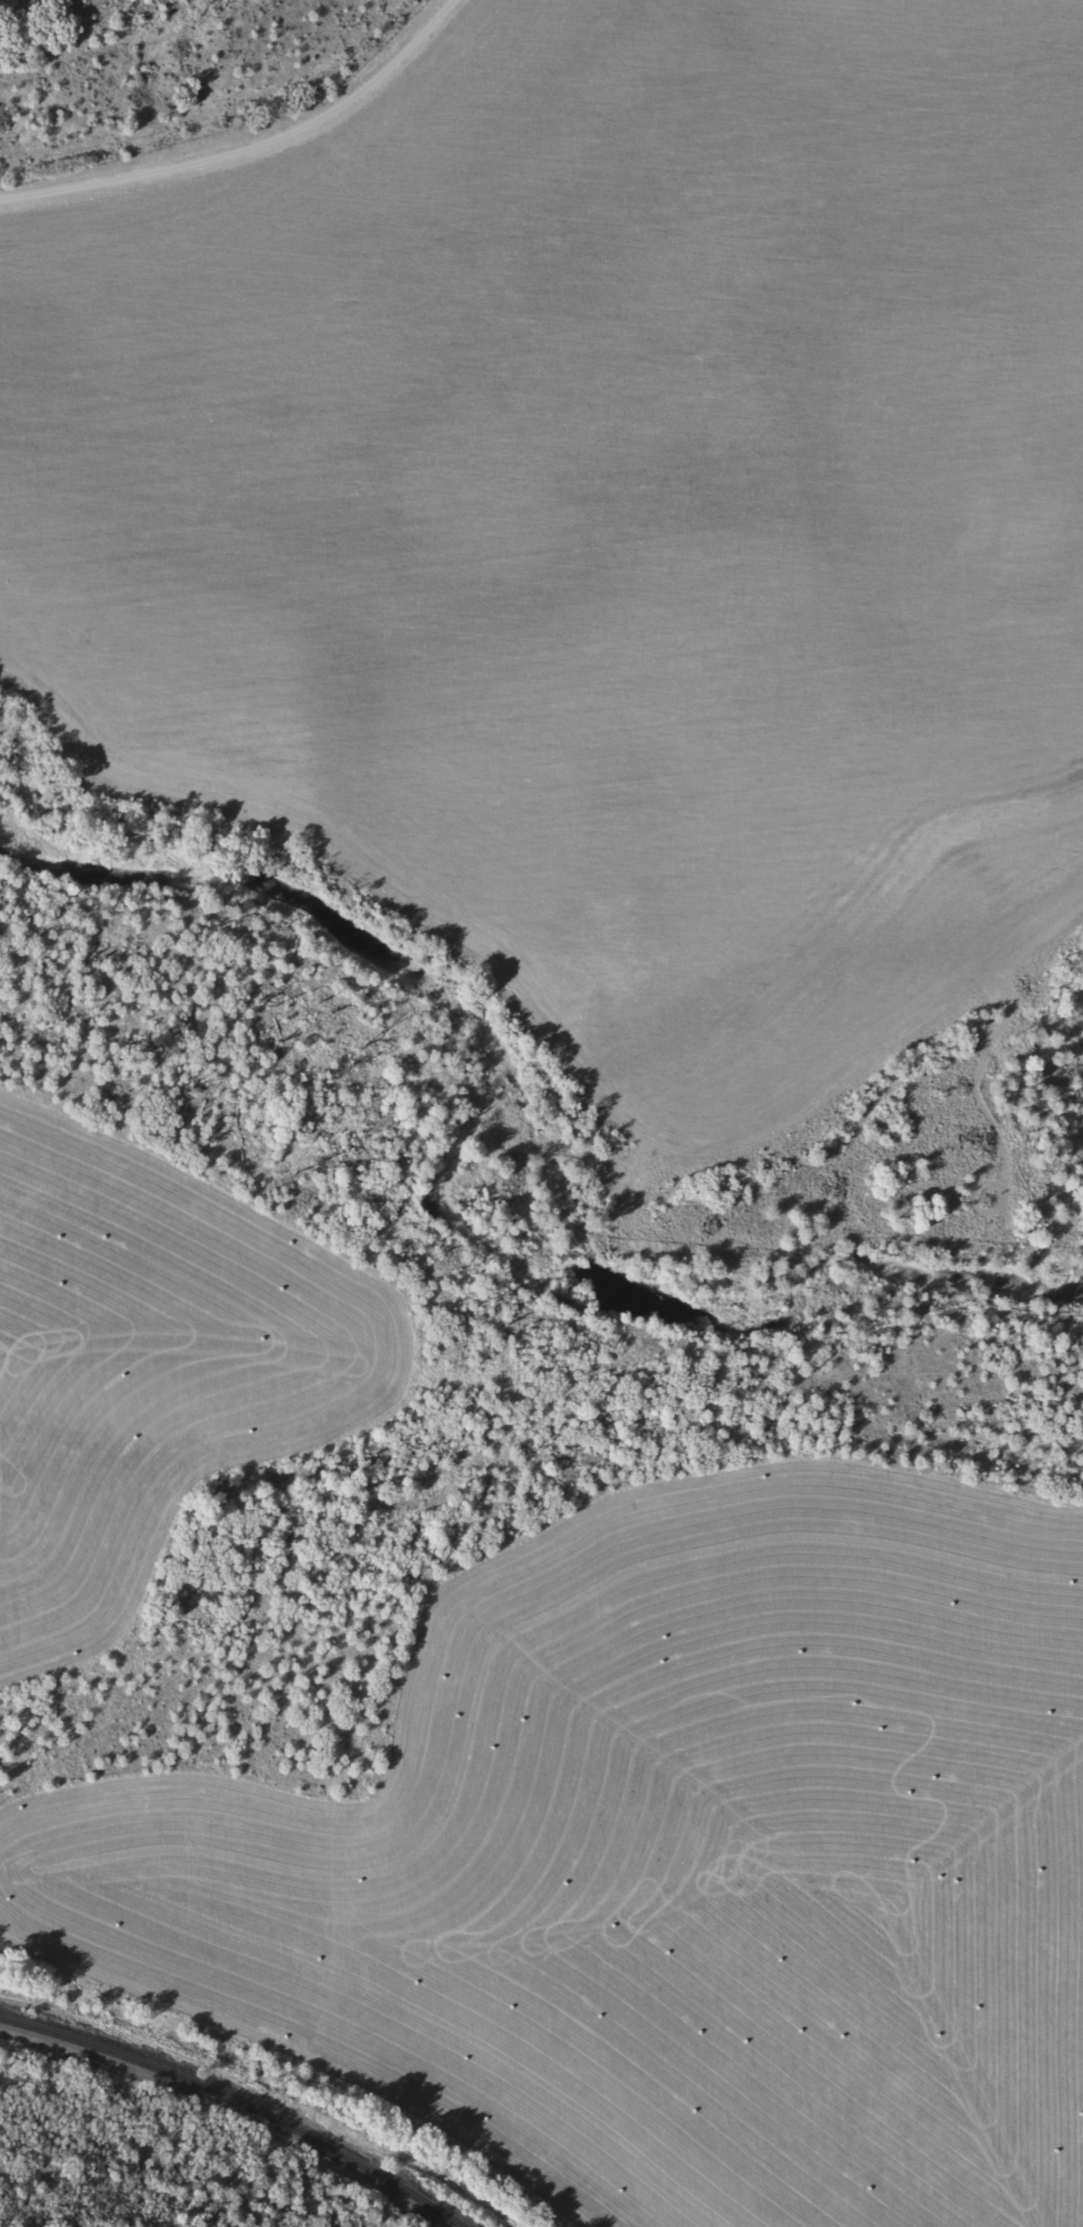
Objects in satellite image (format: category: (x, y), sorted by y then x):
road: (247, 145)
railway: (236, 2105)

